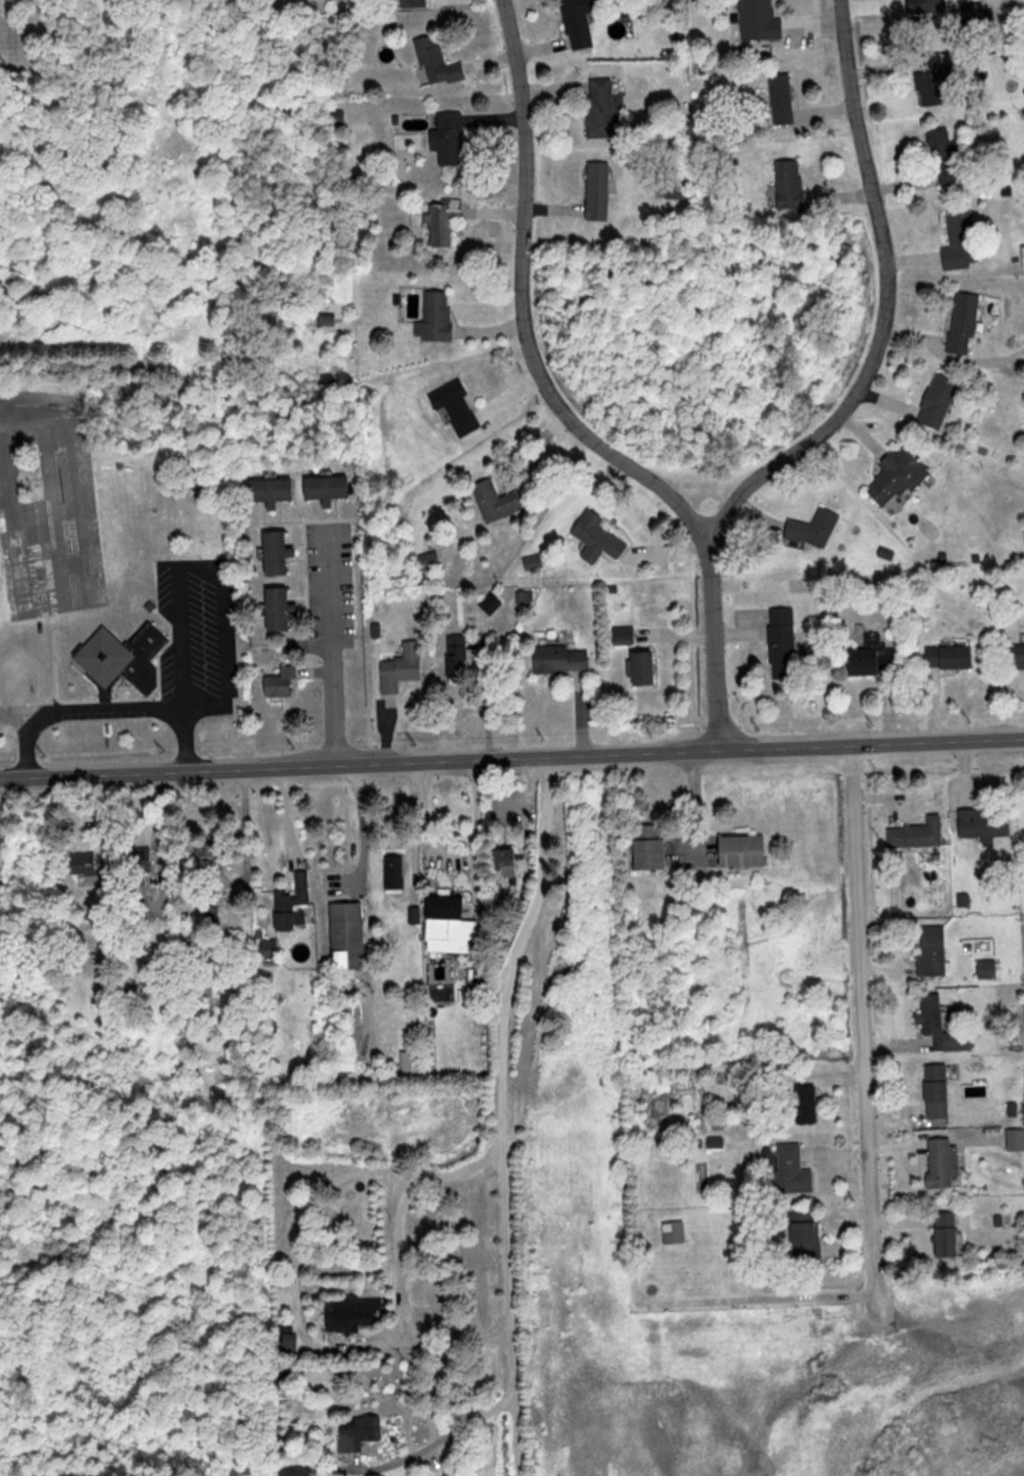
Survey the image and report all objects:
building: (416, 2)
building: (761, 20)
building: (578, 23)
building: (439, 61)
building: (935, 78)
building: (783, 98)
building: (603, 106)
building: (450, 137)
building: (948, 155)
building: (792, 183)
building: (678, 185)
building: (600, 189)
building: (445, 219)
building: (962, 239)
road: (879, 299)
building: (437, 316)
building: (965, 320)
road: (554, 401)
building: (939, 401)
building: (458, 406)
road: (693, 472)
building: (899, 475)
building: (330, 487)
building: (274, 489)
building: (499, 500)
building: (814, 528)
building: (599, 537)
building: (280, 551)
building: (428, 559)
building: (151, 605)
building: (281, 608)
building: (625, 635)
road: (332, 641)
building: (784, 642)
building: (459, 654)
building: (1016, 655)
building: (952, 656)
building: (123, 658)
building: (562, 659)
building: (874, 660)
building: (404, 666)
building: (647, 668)
building: (284, 682)
road: (512, 754)
building: (987, 822)
building: (918, 834)
building: (652, 847)
building: (744, 851)
building: (86, 863)
building: (507, 863)
building: (144, 864)
building: (396, 873)
building: (293, 903)
building: (450, 925)
road: (532, 928)
building: (349, 937)
building: (269, 947)
building: (934, 950)
building: (989, 968)
road: (859, 1005)
building: (942, 1025)
building: (414, 1062)
building: (938, 1091)
building: (804, 1100)
building: (1016, 1139)
building: (944, 1161)
building: (794, 1170)
building: (675, 1231)
building: (948, 1233)
building: (807, 1236)
road: (513, 1287)
building: (352, 1312)
building: (360, 1431)

